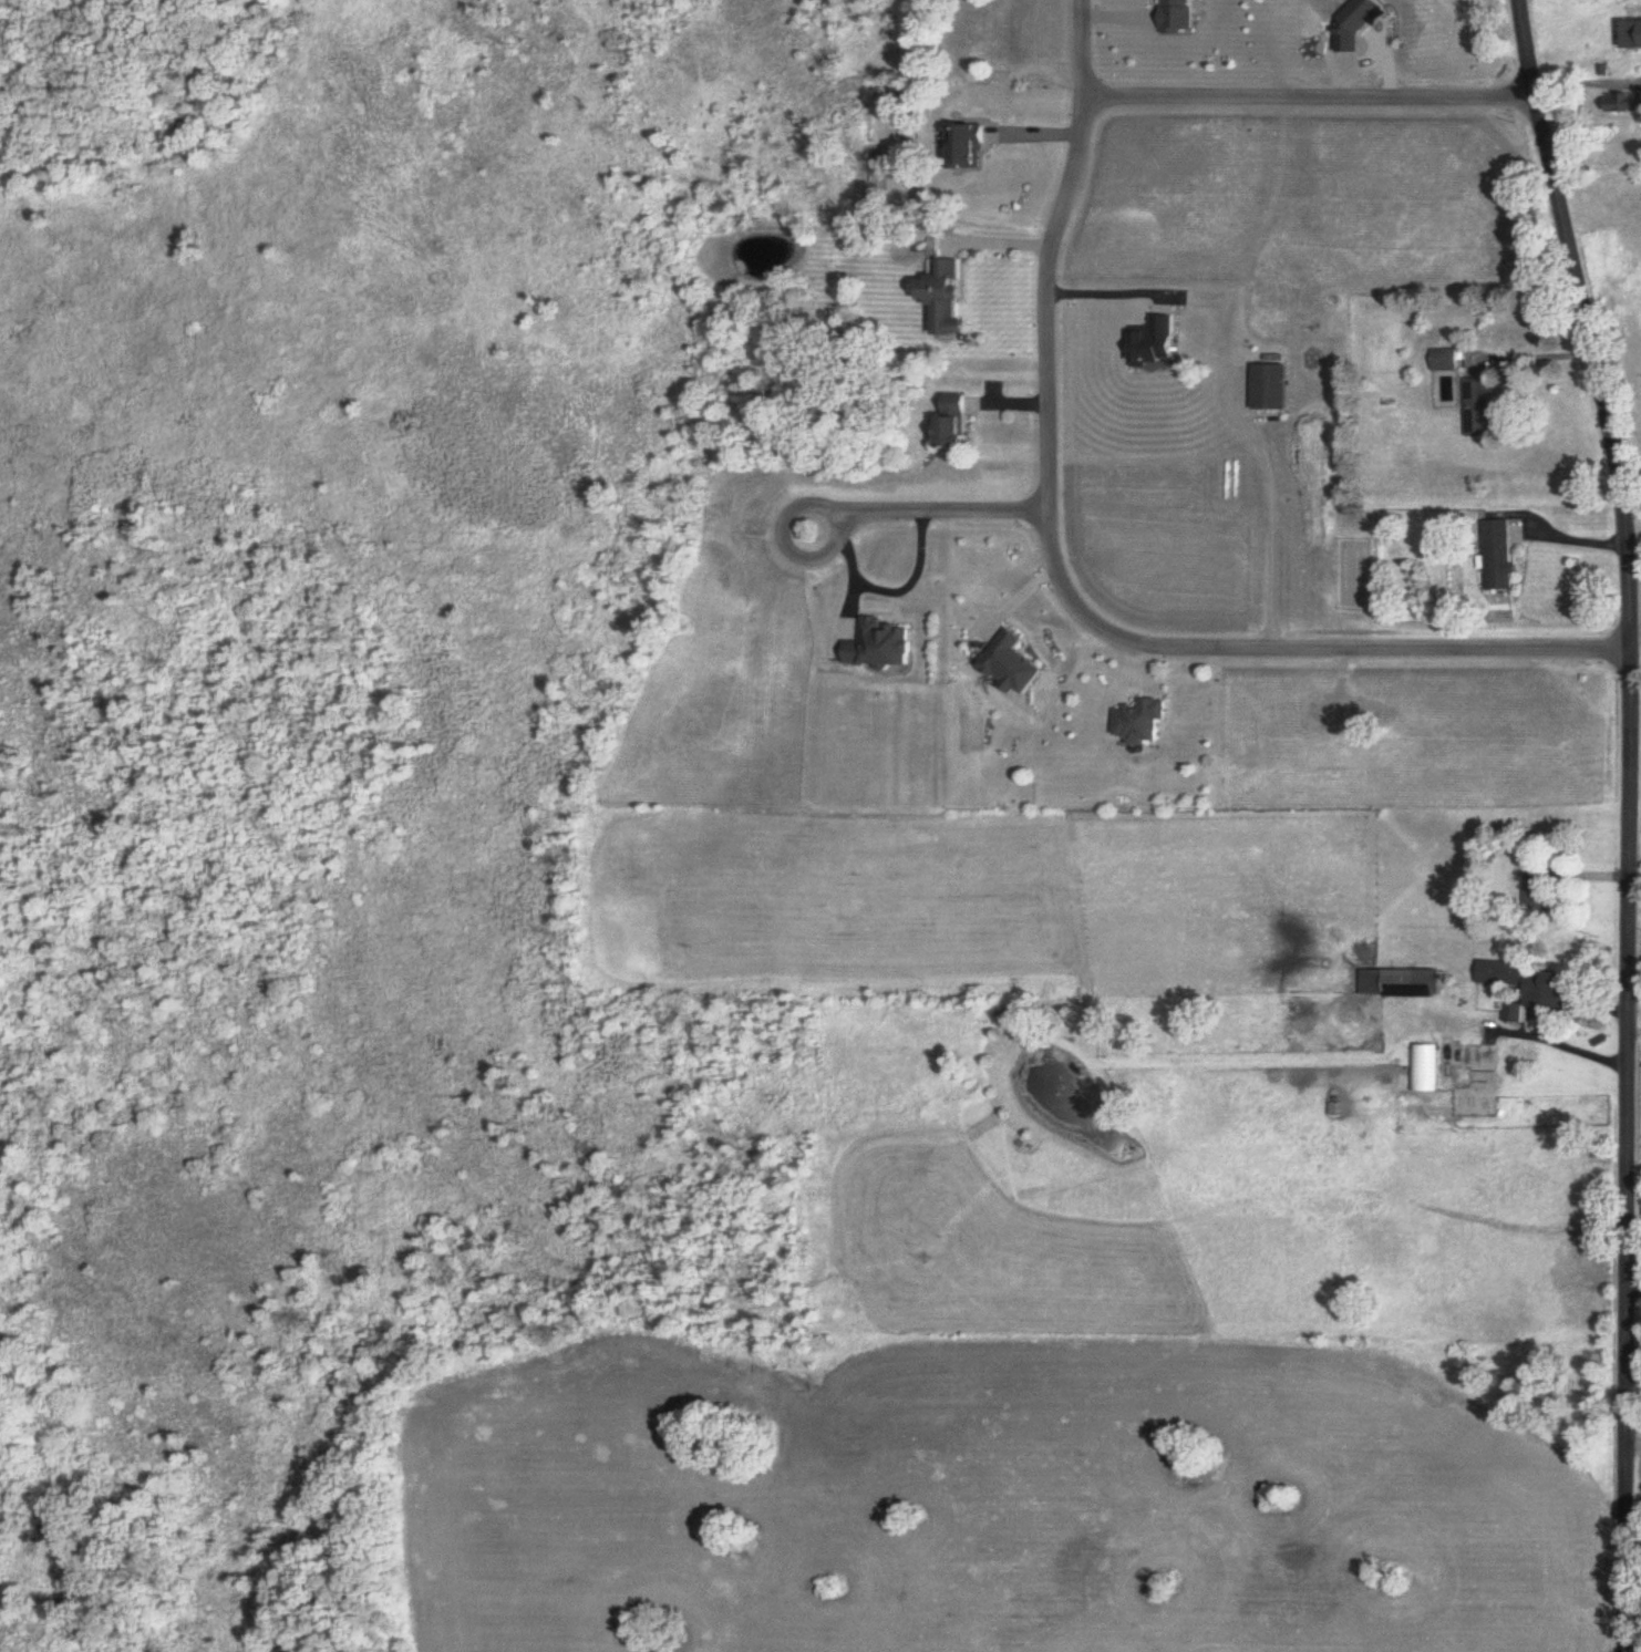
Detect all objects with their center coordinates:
building: (1627, 34)
road: (1587, 85)
road: (1307, 97)
building: (1623, 103)
building: (967, 146)
road: (990, 229)
building: (945, 297)
building: (1154, 343)
road: (1528, 344)
building: (1444, 360)
building: (1271, 388)
building: (1478, 407)
building: (953, 421)
road: (1270, 502)
road: (899, 509)
road: (1566, 527)
building: (1495, 555)
road: (1055, 586)
building: (877, 646)
building: (1141, 722)
road: (1627, 820)
building: (1536, 894)
building: (1400, 983)
building: (1528, 987)
road: (1559, 1033)
building: (1423, 1068)
building: (1478, 1072)

